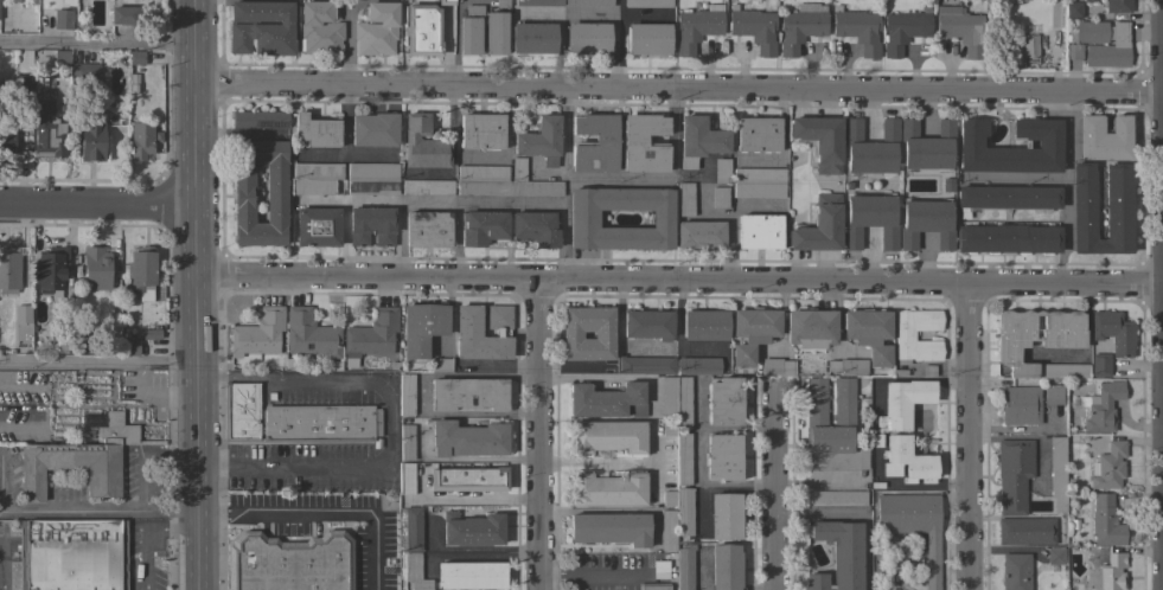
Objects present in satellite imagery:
building: (1089, 0)
building: (447, 2)
building: (538, 2)
building: (500, 4)
building: (588, 4)
building: (647, 4)
building: (1117, 6)
building: (1072, 9)
building: (122, 15)
building: (62, 19)
building: (800, 26)
building: (260, 27)
building: (696, 27)
building: (754, 28)
building: (960, 28)
building: (319, 30)
building: (376, 30)
building: (421, 30)
building: (857, 30)
building: (903, 31)
building: (468, 38)
building: (532, 38)
building: (587, 38)
building: (647, 39)
road: (455, 43)
building: (1103, 43)
road: (97, 44)
building: (1029, 46)
building: (1074, 51)
building: (60, 58)
building: (136, 58)
road: (845, 69)
building: (88, 72)
building: (19, 84)
road: (679, 90)
building: (260, 120)
road: (675, 127)
building: (373, 129)
building: (481, 130)
building: (47, 132)
building: (315, 132)
building: (756, 134)
building: (1103, 137)
building: (7, 140)
building: (141, 140)
building: (539, 140)
building: (698, 141)
building: (819, 141)
building: (91, 142)
building: (422, 143)
building: (594, 143)
building: (643, 143)
building: (1048, 143)
road: (345, 145)
building: (926, 146)
building: (870, 147)
road: (320, 153)
building: (721, 169)
building: (315, 178)
building: (372, 179)
building: (501, 181)
building: (758, 182)
road: (565, 185)
building: (427, 187)
road: (1062, 188)
building: (243, 193)
building: (718, 197)
building: (1004, 198)
building: (684, 199)
road: (319, 201)
road: (415, 203)
building: (1117, 204)
road: (98, 206)
building: (582, 219)
building: (869, 220)
road: (731, 222)
building: (926, 224)
building: (371, 226)
building: (819, 226)
building: (317, 227)
building: (481, 227)
building: (535, 227)
building: (427, 230)
building: (759, 231)
building: (698, 233)
building: (1008, 239)
road: (396, 242)
road: (456, 242)
building: (9, 269)
building: (96, 269)
building: (50, 271)
building: (141, 272)
road: (680, 282)
road: (199, 294)
building: (21, 314)
building: (647, 325)
building: (704, 326)
building: (421, 328)
building: (810, 328)
building: (467, 332)
building: (1113, 332)
building: (257, 333)
building: (750, 333)
building: (151, 334)
building: (309, 334)
building: (868, 334)
building: (602, 335)
building: (370, 336)
building: (903, 336)
building: (1039, 341)
building: (41, 342)
building: (69, 342)
building: (128, 347)
road: (100, 365)
building: (440, 365)
building: (646, 365)
building: (1100, 365)
building: (698, 366)
building: (775, 366)
building: (846, 367)
road: (280, 377)
building: (467, 393)
building: (405, 395)
building: (1053, 395)
building: (676, 399)
building: (607, 400)
building: (723, 402)
building: (1020, 405)
building: (1103, 406)
building: (813, 416)
building: (293, 419)
building: (667, 428)
building: (905, 430)
building: (116, 431)
road: (541, 436)
building: (607, 437)
road: (971, 437)
building: (466, 438)
building: (407, 443)
building: (722, 456)
building: (683, 458)
road: (598, 463)
building: (1107, 467)
building: (70, 468)
road: (345, 468)
building: (1056, 473)
building: (1012, 475)
building: (468, 477)
building: (405, 479)
road: (140, 483)
building: (606, 489)
road: (778, 494)
building: (836, 499)
road: (70, 509)
building: (680, 509)
road: (324, 511)
building: (724, 515)
building: (1105, 521)
building: (913, 525)
building: (411, 528)
building: (609, 528)
building: (471, 530)
building: (667, 530)
building: (1025, 531)
road: (148, 534)
building: (71, 554)
building: (837, 554)
building: (1055, 556)
building: (289, 563)
building: (667, 564)
building: (684, 566)
building: (724, 567)
road: (0, 570)
building: (1015, 571)
building: (414, 572)
building: (1107, 573)
building: (472, 576)
road: (588, 576)
building: (653, 586)

